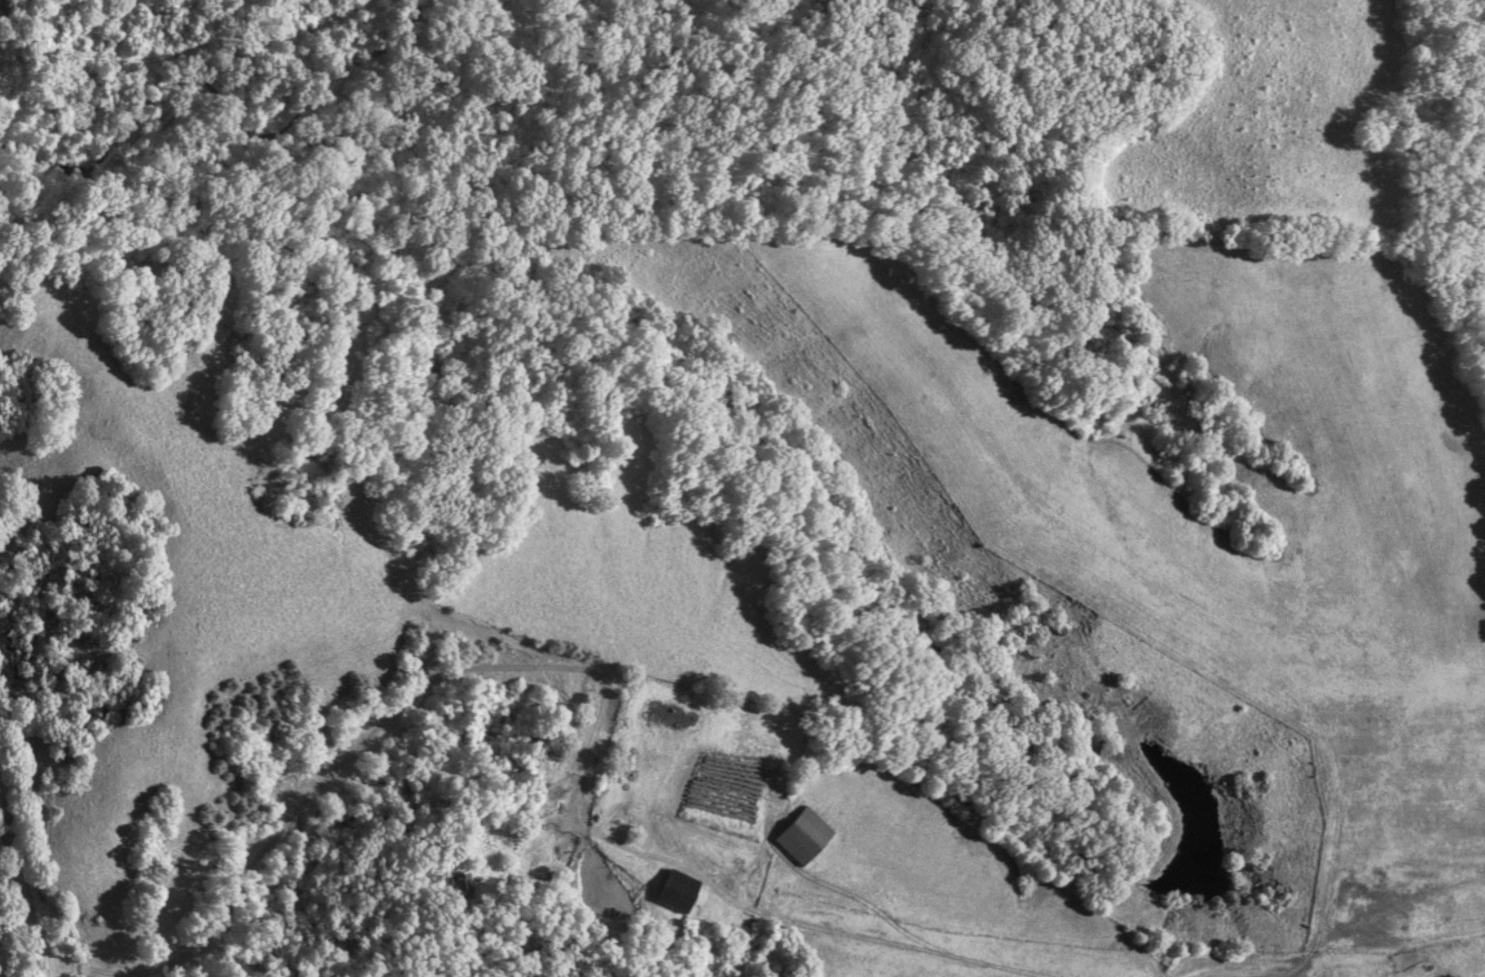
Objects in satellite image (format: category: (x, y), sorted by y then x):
road: (602, 705)
building: (802, 837)
building: (459, 885)
building: (679, 892)
road: (23, 894)
road: (1309, 946)
road: (77, 967)

